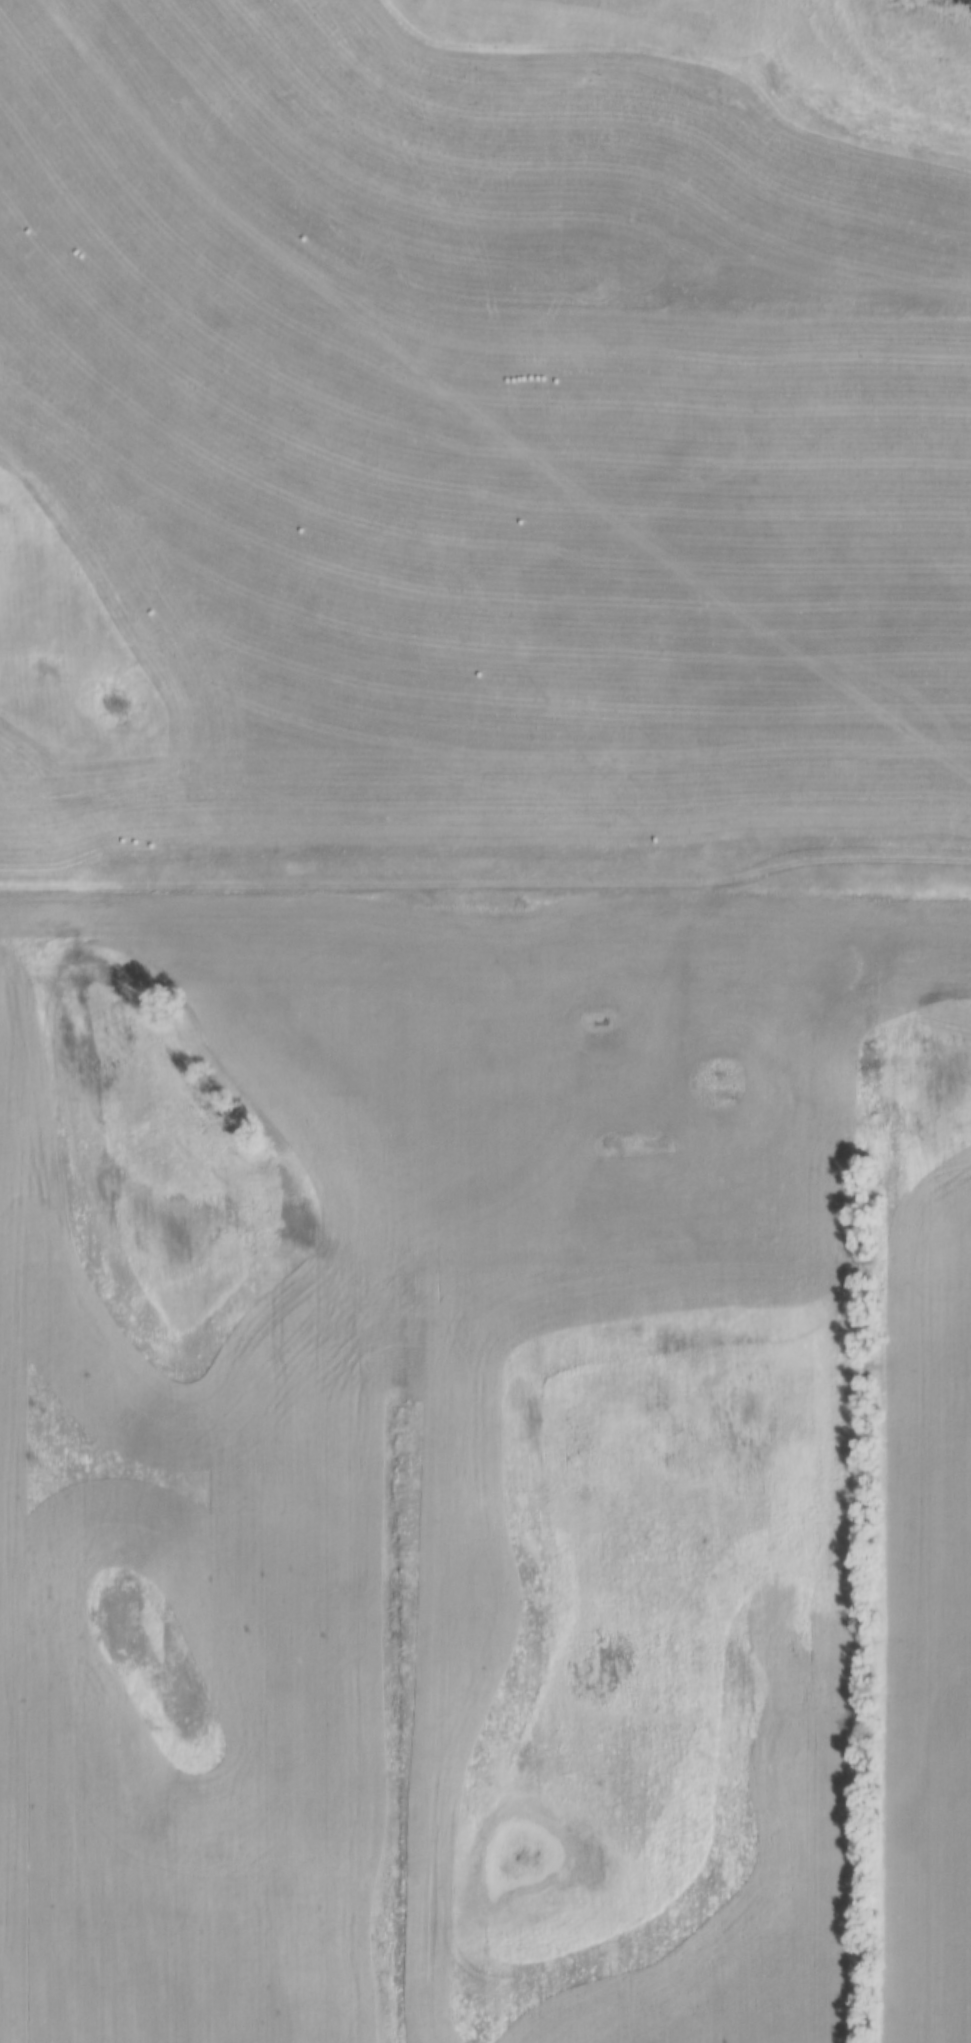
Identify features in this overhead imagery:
building: (17, 404)
road: (485, 867)

